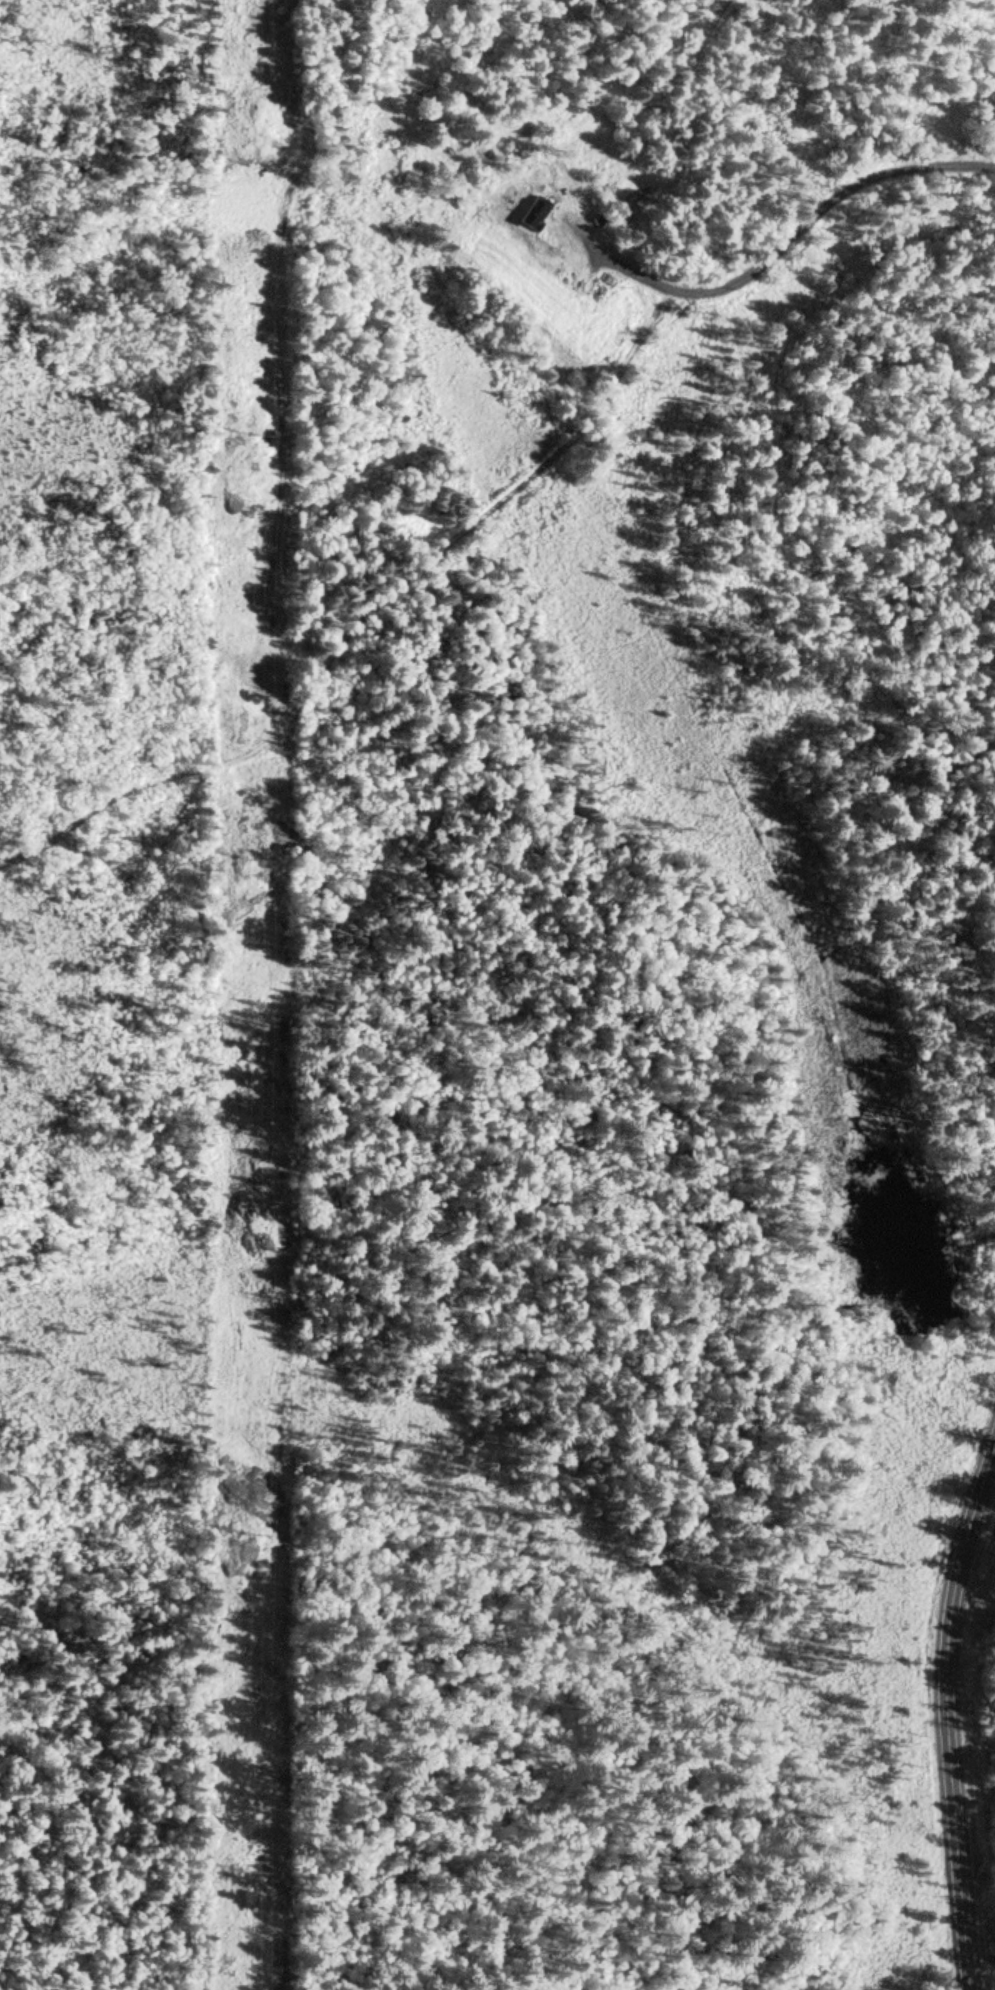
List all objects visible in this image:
building: (526, 213)
building: (589, 293)
road: (476, 433)
road: (948, 1714)

